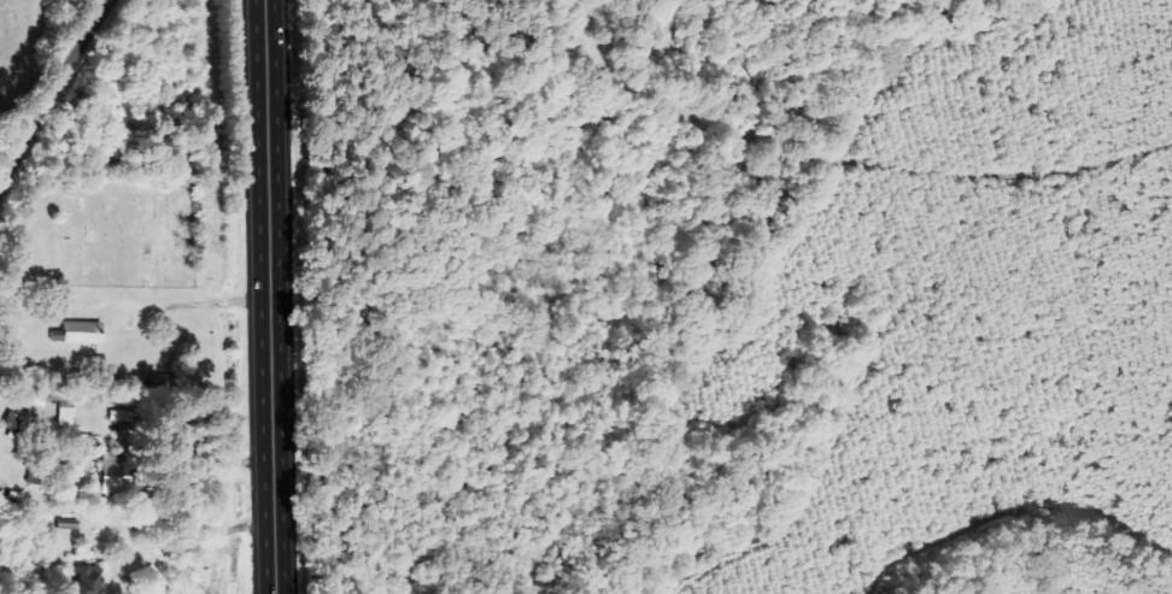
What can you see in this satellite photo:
road: (53, 98)
park: (116, 231)
road: (273, 296)
building: (87, 333)
building: (0, 408)
building: (18, 422)
building: (121, 472)
building: (94, 580)

